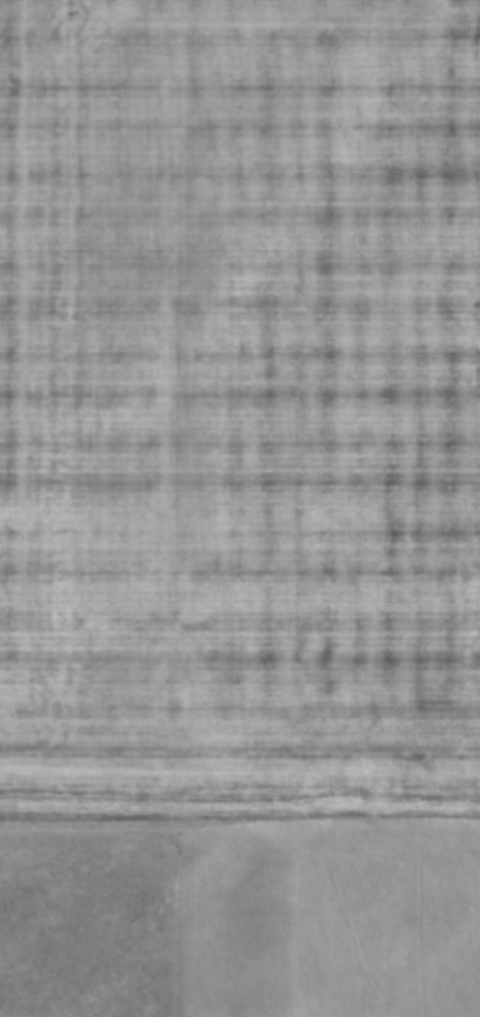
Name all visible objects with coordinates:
road: (239, 819)

